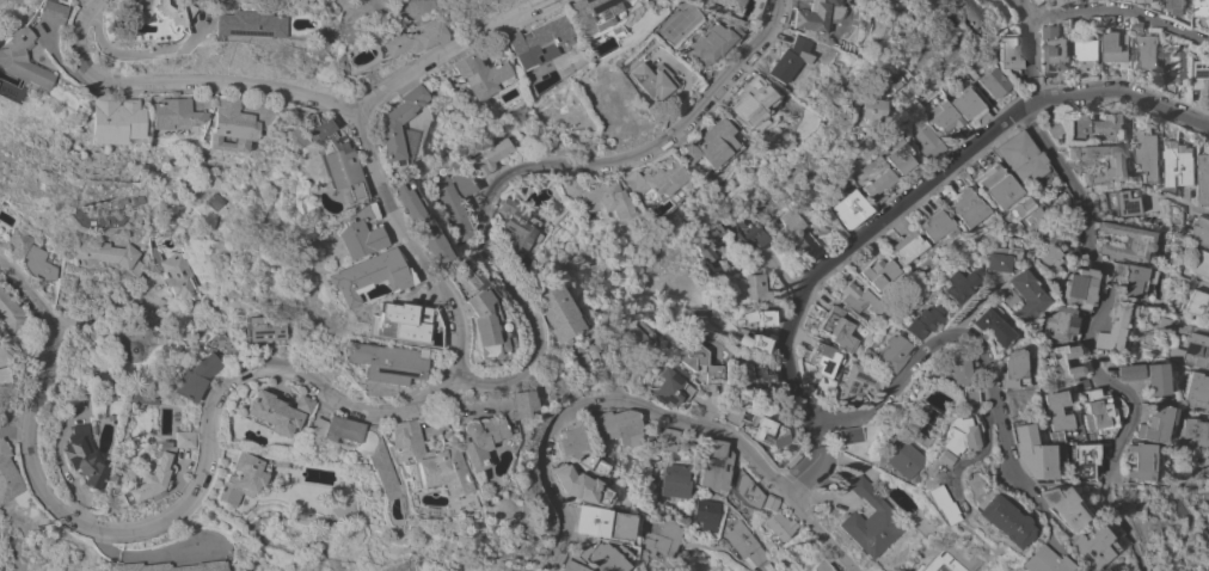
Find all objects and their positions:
building: (1036, 1)
building: (1061, 1)
building: (1136, 1)
building: (714, 4)
building: (996, 4)
building: (1173, 6)
building: (1201, 7)
road: (1121, 8)
road: (1038, 10)
building: (39, 12)
building: (149, 12)
building: (968, 12)
building: (573, 13)
building: (804, 16)
building: (1094, 19)
building: (1107, 19)
building: (1208, 19)
building: (233, 24)
building: (1136, 25)
building: (398, 38)
building: (520, 38)
building: (1056, 44)
building: (700, 45)
building: (1115, 45)
building: (1197, 48)
road: (431, 49)
road: (1029, 49)
building: (1146, 49)
building: (1008, 51)
building: (1085, 51)
building: (6, 55)
building: (777, 60)
road: (962, 63)
building: (1176, 65)
building: (969, 74)
building: (464, 76)
building: (1201, 76)
building: (886, 78)
building: (638, 80)
road: (168, 82)
building: (995, 84)
building: (965, 99)
building: (741, 100)
building: (164, 115)
building: (869, 116)
building: (943, 117)
building: (103, 119)
building: (220, 127)
building: (385, 128)
building: (1054, 128)
building: (1094, 128)
building: (927, 143)
building: (699, 146)
building: (1146, 154)
building: (898, 156)
building: (477, 158)
building: (323, 159)
building: (1023, 160)
building: (1177, 162)
building: (1113, 164)
building: (1203, 178)
building: (876, 186)
building: (995, 186)
building: (648, 188)
building: (588, 198)
building: (133, 199)
building: (117, 201)
building: (443, 202)
building: (1125, 203)
road: (897, 207)
building: (1017, 207)
building: (762, 208)
building: (965, 208)
building: (849, 209)
building: (1064, 210)
building: (1174, 211)
building: (1067, 221)
building: (1031, 223)
building: (409, 225)
building: (934, 226)
building: (1198, 231)
building: (509, 232)
building: (744, 234)
building: (791, 234)
building: (344, 239)
building: (805, 240)
building: (702, 241)
building: (1122, 242)
road: (393, 247)
building: (904, 247)
building: (1208, 248)
building: (25, 253)
building: (994, 254)
building: (1043, 254)
building: (106, 256)
building: (1199, 264)
building: (1174, 265)
building: (878, 272)
building: (938, 272)
building: (176, 274)
building: (355, 275)
building: (1129, 278)
building: (950, 283)
building: (1184, 283)
building: (1074, 288)
building: (744, 290)
road: (31, 295)
building: (1013, 296)
building: (858, 297)
building: (1196, 303)
building: (10, 311)
building: (545, 313)
building: (753, 318)
road: (94, 319)
building: (914, 321)
building: (468, 323)
building: (381, 324)
building: (1052, 324)
building: (1165, 325)
building: (258, 329)
building: (980, 329)
building: (1111, 329)
building: (835, 330)
building: (624, 331)
road: (944, 338)
building: (1170, 340)
road: (1084, 342)
building: (748, 343)
building: (575, 346)
building: (886, 351)
building: (1191, 351)
building: (680, 355)
building: (820, 358)
building: (372, 362)
building: (1056, 362)
building: (1002, 369)
building: (941, 370)
building: (1125, 372)
building: (702, 373)
building: (745, 374)
building: (1, 377)
building: (97, 377)
building: (188, 377)
building: (1152, 379)
building: (1076, 382)
building: (851, 383)
building: (657, 388)
building: (1195, 391)
building: (900, 393)
road: (417, 397)
building: (955, 397)
building: (137, 398)
road: (591, 401)
building: (265, 412)
building: (1094, 415)
building: (1047, 416)
building: (1150, 423)
building: (904, 424)
building: (600, 426)
building: (748, 428)
building: (472, 430)
building: (944, 434)
building: (1192, 434)
building: (675, 435)
building: (842, 436)
building: (652, 440)
building: (345, 448)
building: (563, 450)
road: (959, 452)
building: (1019, 453)
building: (75, 456)
building: (889, 458)
building: (927, 458)
building: (1135, 462)
building: (702, 465)
building: (1204, 466)
building: (412, 468)
building: (146, 471)
building: (233, 478)
building: (665, 480)
building: (867, 483)
building: (8, 486)
building: (566, 486)
building: (735, 491)
building: (1173, 498)
building: (925, 505)
building: (1048, 506)
building: (335, 508)
road: (1019, 510)
building: (698, 515)
building: (765, 520)
building: (857, 521)
building: (986, 521)
building: (591, 522)
road: (810, 533)
building: (652, 535)
building: (737, 544)
building: (1076, 547)
building: (593, 555)
building: (1025, 561)
building: (559, 564)
building: (916, 564)
building: (130, 566)
building: (810, 566)
building: (491, 569)
road: (759, 570)
building: (1093, 570)

